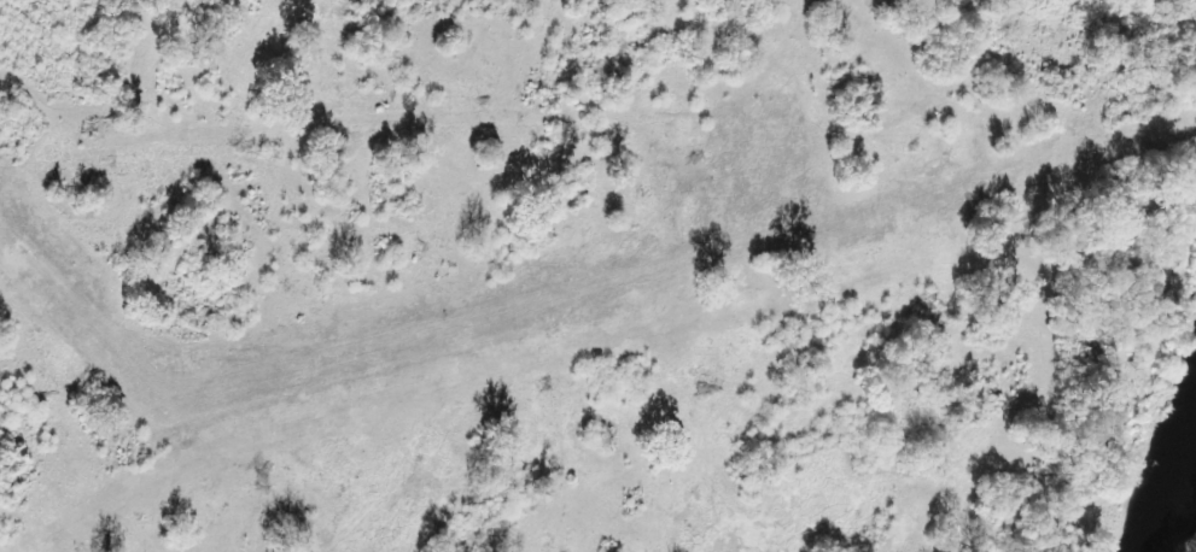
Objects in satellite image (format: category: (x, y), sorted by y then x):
river: (1173, 492)

